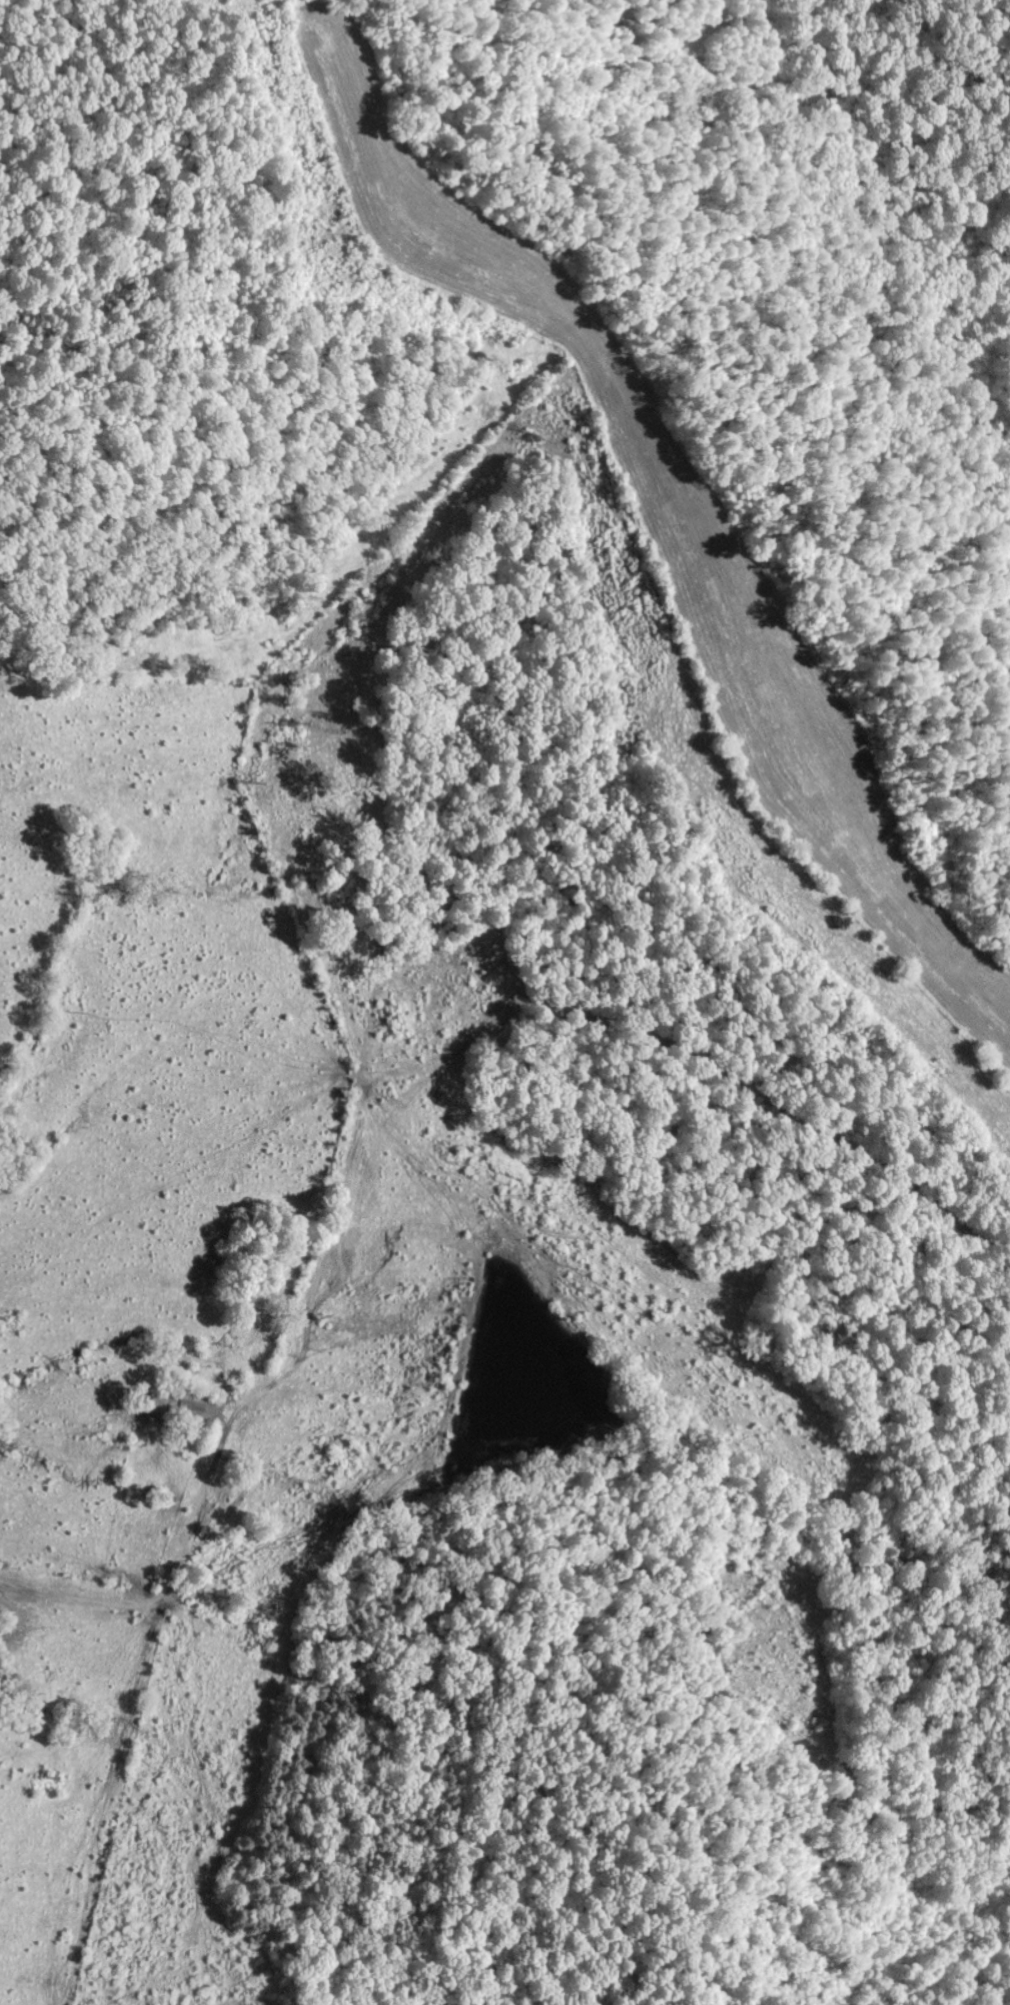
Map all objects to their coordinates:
building: (191, 1406)
road: (183, 1546)

